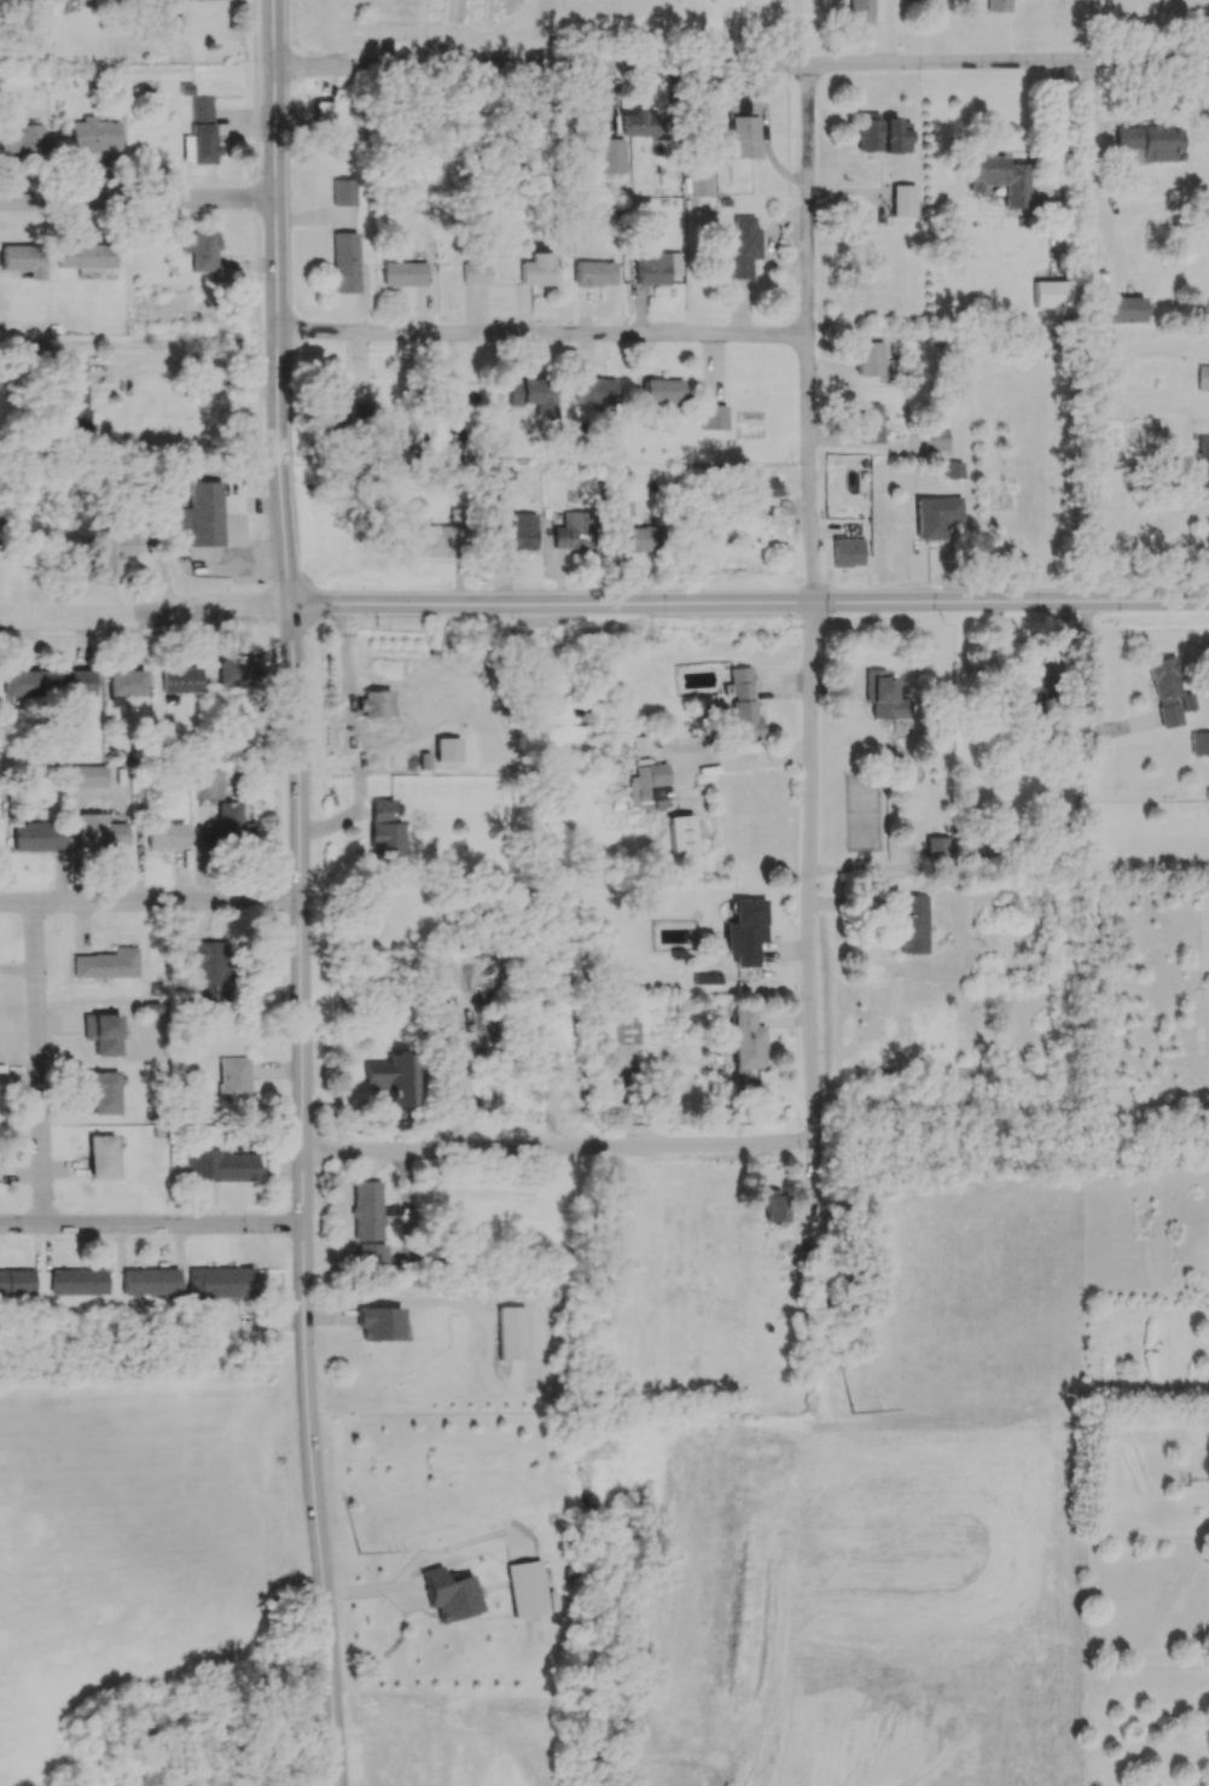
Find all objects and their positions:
building: (8, 0)
road: (730, 5)
building: (998, 5)
building: (860, 11)
road: (943, 33)
road: (802, 34)
road: (730, 35)
road: (742, 62)
building: (324, 116)
building: (640, 123)
building: (744, 126)
road: (1056, 127)
building: (202, 130)
building: (882, 133)
building: (94, 134)
building: (19, 138)
building: (1149, 144)
building: (612, 155)
building: (1000, 178)
building: (699, 184)
building: (343, 192)
road: (138, 198)
building: (903, 199)
building: (743, 248)
building: (202, 250)
building: (85, 255)
building: (22, 260)
building: (344, 262)
building: (652, 268)
building: (537, 269)
building: (405, 273)
building: (476, 273)
building: (594, 273)
building: (1048, 293)
road: (275, 302)
building: (1118, 309)
road: (542, 333)
road: (809, 336)
building: (870, 357)
road: (193, 366)
building: (1203, 377)
building: (595, 390)
building: (661, 390)
building: (534, 395)
building: (74, 396)
building: (337, 405)
building: (713, 417)
building: (868, 423)
building: (937, 438)
building: (1202, 461)
building: (954, 470)
building: (760, 489)
building: (621, 502)
building: (204, 513)
building: (936, 516)
building: (517, 530)
building: (576, 530)
building: (645, 537)
building: (443, 540)
building: (111, 552)
building: (848, 552)
road: (1009, 601)
road: (547, 604)
road: (144, 617)
building: (180, 679)
building: (21, 682)
building: (126, 683)
building: (74, 685)
building: (1169, 692)
building: (885, 696)
building: (1031, 698)
building: (374, 703)
building: (743, 704)
building: (1199, 743)
building: (447, 749)
road: (734, 762)
building: (87, 775)
building: (207, 784)
building: (649, 786)
building: (228, 827)
building: (383, 831)
building: (99, 832)
building: (37, 836)
building: (165, 836)
building: (682, 836)
building: (937, 848)
road: (809, 875)
road: (151, 900)
road: (301, 913)
building: (913, 924)
building: (745, 931)
building: (106, 964)
building: (205, 968)
building: (622, 1029)
building: (103, 1032)
building: (746, 1039)
road: (36, 1063)
building: (391, 1077)
building: (232, 1078)
building: (103, 1093)
road: (557, 1147)
building: (101, 1156)
building: (219, 1165)
building: (777, 1204)
building: (366, 1209)
road: (151, 1223)
building: (370, 1255)
building: (149, 1280)
building: (16, 1281)
building: (77, 1281)
building: (219, 1281)
building: (380, 1322)
building: (512, 1332)
power tower: (853, 1413)
road: (313, 1505)
power tower: (356, 1554)
road: (873, 1571)
building: (527, 1588)
building: (449, 1594)
road: (795, 1600)

